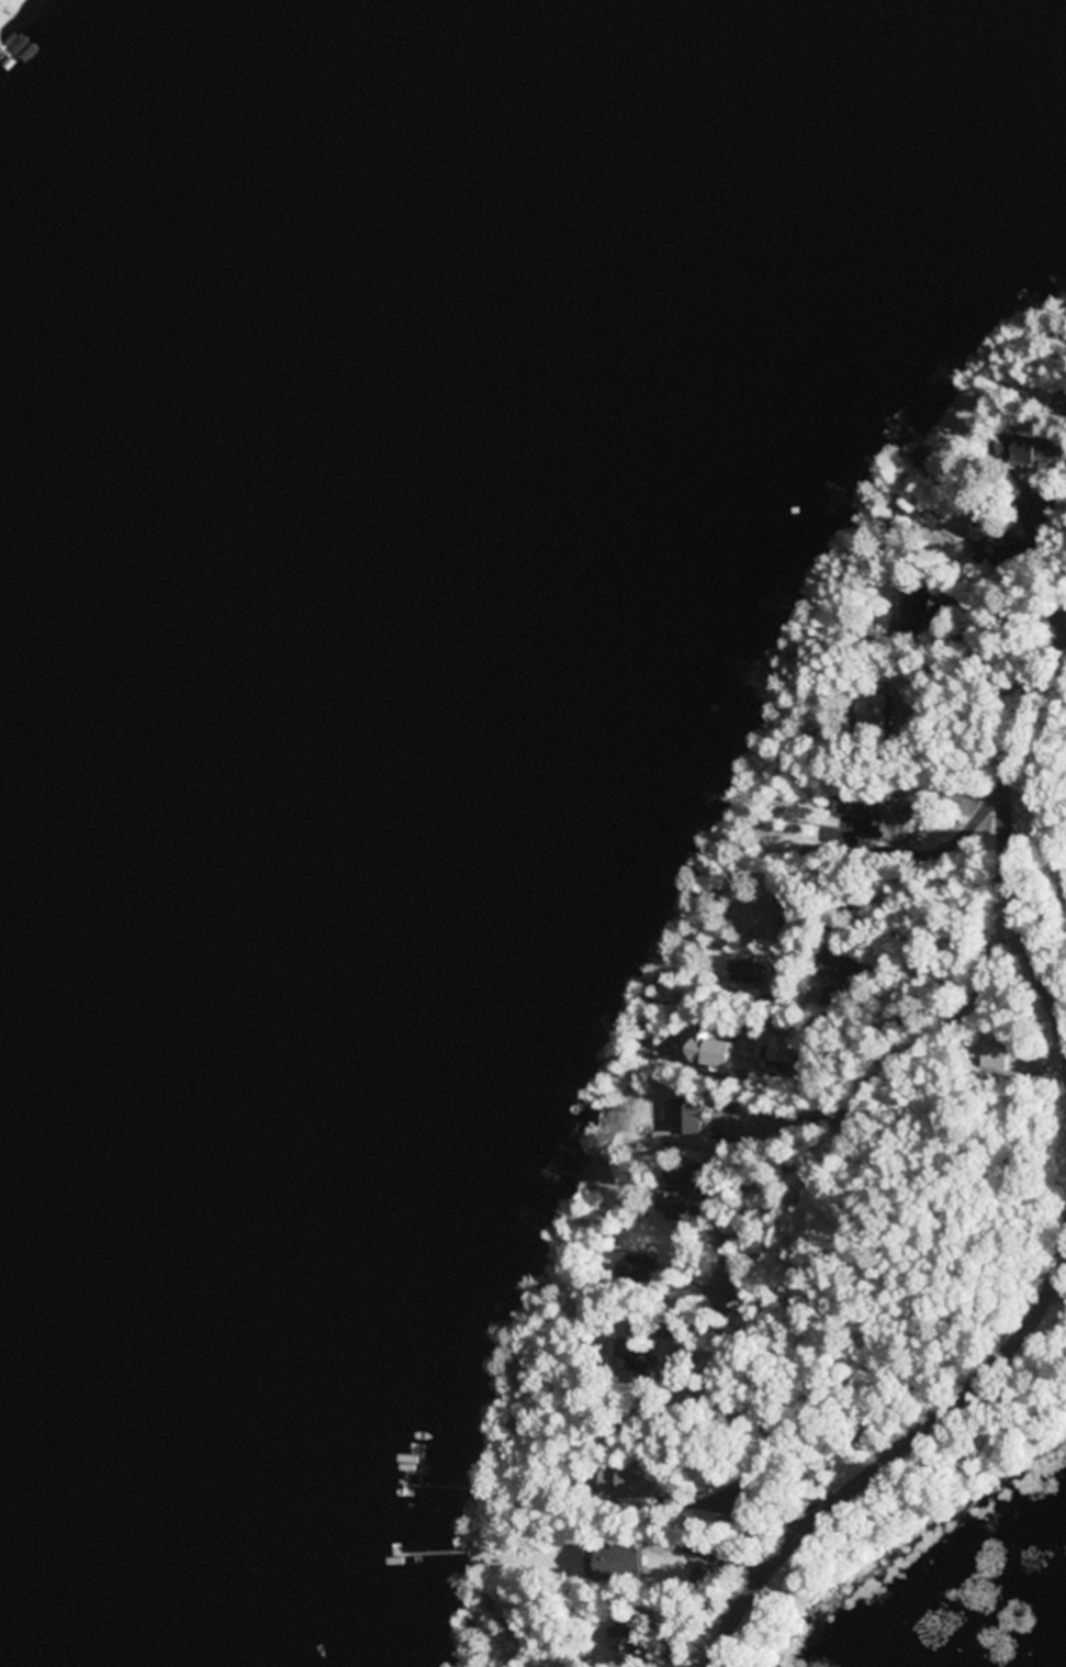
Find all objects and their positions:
building: (1062, 404)
building: (1030, 447)
building: (989, 541)
building: (914, 614)
building: (873, 709)
building: (851, 805)
building: (890, 823)
road: (1005, 838)
building: (793, 922)
building: (747, 973)
road: (891, 1072)
building: (675, 1194)
building: (637, 1275)
road: (887, 1457)
building: (627, 1483)
building: (615, 1563)
building: (626, 1640)

